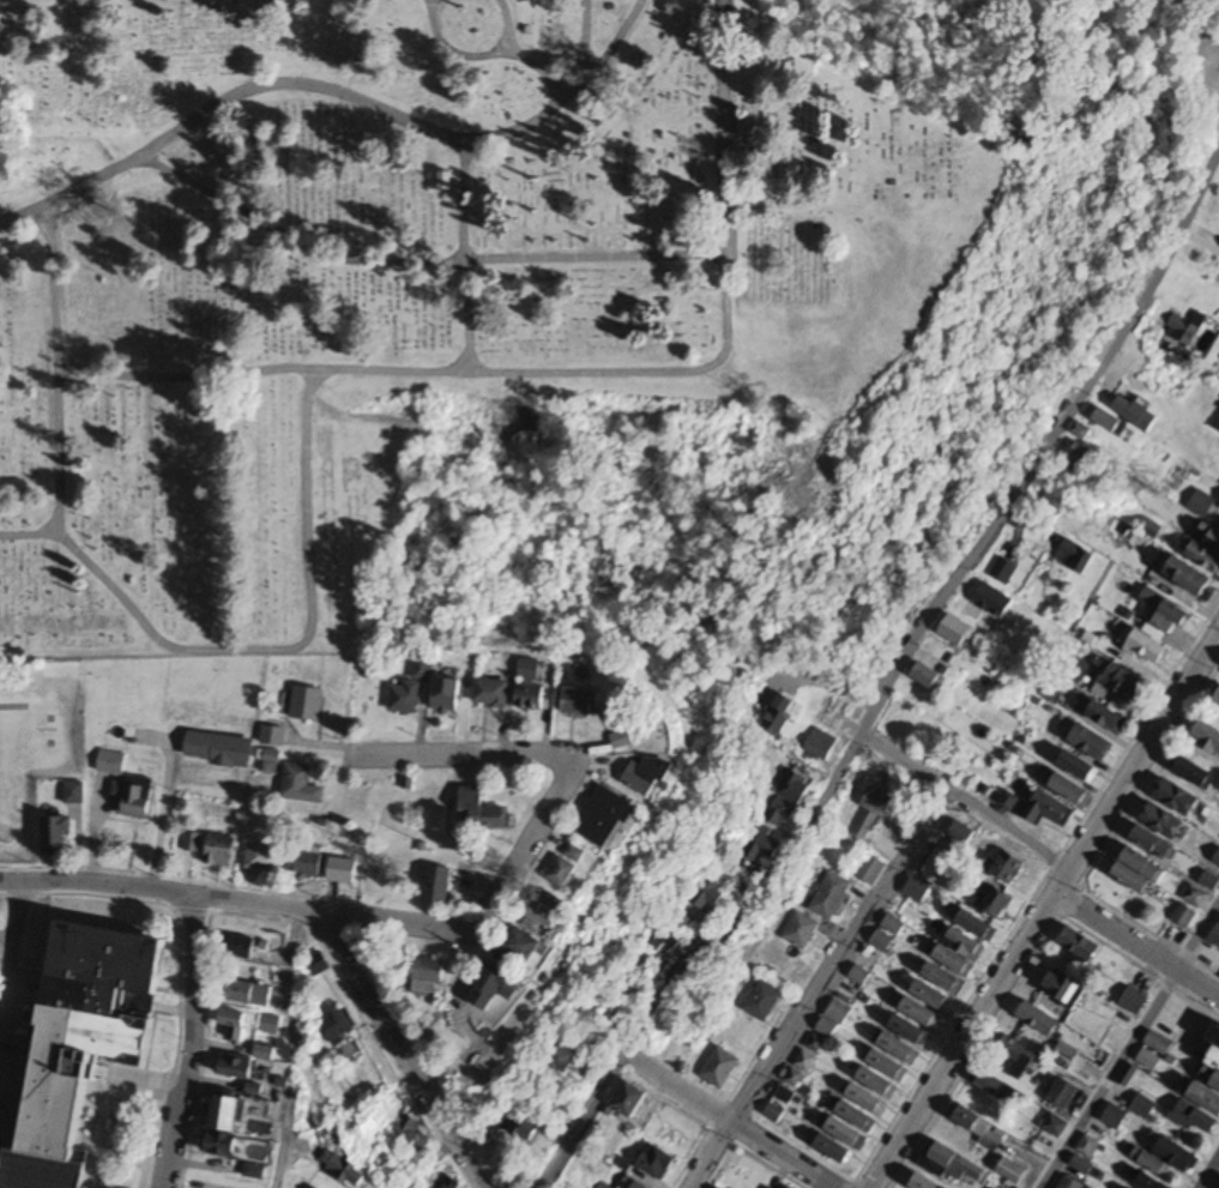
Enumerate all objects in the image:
road: (614, 47)
road: (451, 52)
road: (515, 55)
road: (326, 91)
road: (64, 139)
road: (23, 239)
road: (464, 257)
road: (418, 260)
park: (414, 272)
building: (1185, 328)
road: (56, 369)
road: (569, 374)
building: (1136, 414)
building: (1110, 422)
building: (1218, 426)
building: (1085, 459)
building: (1206, 548)
building: (1075, 556)
building: (1189, 577)
building: (995, 601)
building: (1164, 613)
road: (933, 614)
building: (958, 632)
building: (1146, 647)
road: (265, 650)
building: (421, 669)
building: (529, 669)
building: (928, 676)
building: (1121, 685)
building: (491, 693)
building: (446, 695)
building: (530, 696)
building: (404, 699)
building: (1217, 699)
building: (581, 701)
building: (307, 704)
building: (1106, 718)
building: (778, 720)
building: (272, 736)
building: (1207, 736)
building: (624, 740)
building: (1091, 743)
building: (819, 747)
building: (218, 749)
building: (110, 762)
building: (271, 762)
building: (1078, 766)
building: (1194, 773)
building: (652, 776)
building: (301, 785)
building: (1070, 790)
building: (133, 797)
building: (1176, 797)
building: (790, 801)
road: (966, 801)
building: (1008, 802)
building: (871, 810)
building: (1046, 810)
building: (485, 812)
road: (153, 816)
building: (605, 818)
building: (1160, 821)
road: (539, 825)
building: (55, 836)
building: (961, 838)
building: (191, 843)
building: (1153, 844)
building: (762, 849)
building: (219, 851)
building: (264, 857)
building: (306, 863)
building: (568, 868)
building: (1004, 868)
building: (343, 870)
building: (869, 872)
building: (1137, 874)
building: (1209, 881)
building: (433, 885)
building: (917, 891)
building: (829, 898)
building: (1195, 898)
building: (711, 899)
building: (995, 901)
building: (547, 911)
road: (1044, 911)
building: (1184, 916)
road: (313, 917)
building: (977, 927)
building: (799, 931)
road: (8, 937)
building: (664, 939)
building: (1078, 947)
road: (1136, 947)
building: (241, 948)
building: (520, 952)
building: (960, 953)
building: (316, 965)
building: (430, 977)
building: (942, 979)
building: (1062, 987)
road: (817, 988)
building: (494, 989)
building: (249, 994)
building: (933, 997)
building: (762, 1001)
building: (1133, 1002)
building: (921, 1014)
building: (1038, 1019)
building: (833, 1020)
building: (235, 1025)
building: (271, 1025)
building: (338, 1026)
building: (910, 1031)
building: (84, 1042)
road: (187, 1044)
building: (899, 1049)
road: (1130, 1050)
building: (1153, 1051)
building: (266, 1053)
building: (1015, 1055)
building: (1063, 1056)
building: (562, 1057)
building: (804, 1061)
building: (1212, 1062)
building: (888, 1066)
building: (237, 1067)
building: (719, 1068)
building: (877, 1083)
building: (5, 1085)
building: (1001, 1091)
building: (1061, 1093)
building: (627, 1098)
building: (867, 1099)
building: (1142, 1106)
building: (1199, 1110)
building: (856, 1115)
building: (1114, 1117)
road: (728, 1120)
road: (580, 1122)
building: (974, 1124)
building: (1055, 1124)
building: (225, 1127)
building: (523, 1127)
building: (846, 1133)
building: (415, 1138)
building: (1087, 1146)
building: (833, 1150)
road: (279, 1151)
building: (1164, 1156)
building: (656, 1162)
road: (430, 1163)
building: (949, 1163)
building: (1080, 1164)
building: (1010, 1170)
building: (345, 1171)
road: (1213, 1178)
building: (923, 1182)
building: (1148, 1182)
building: (1069, 1183)

